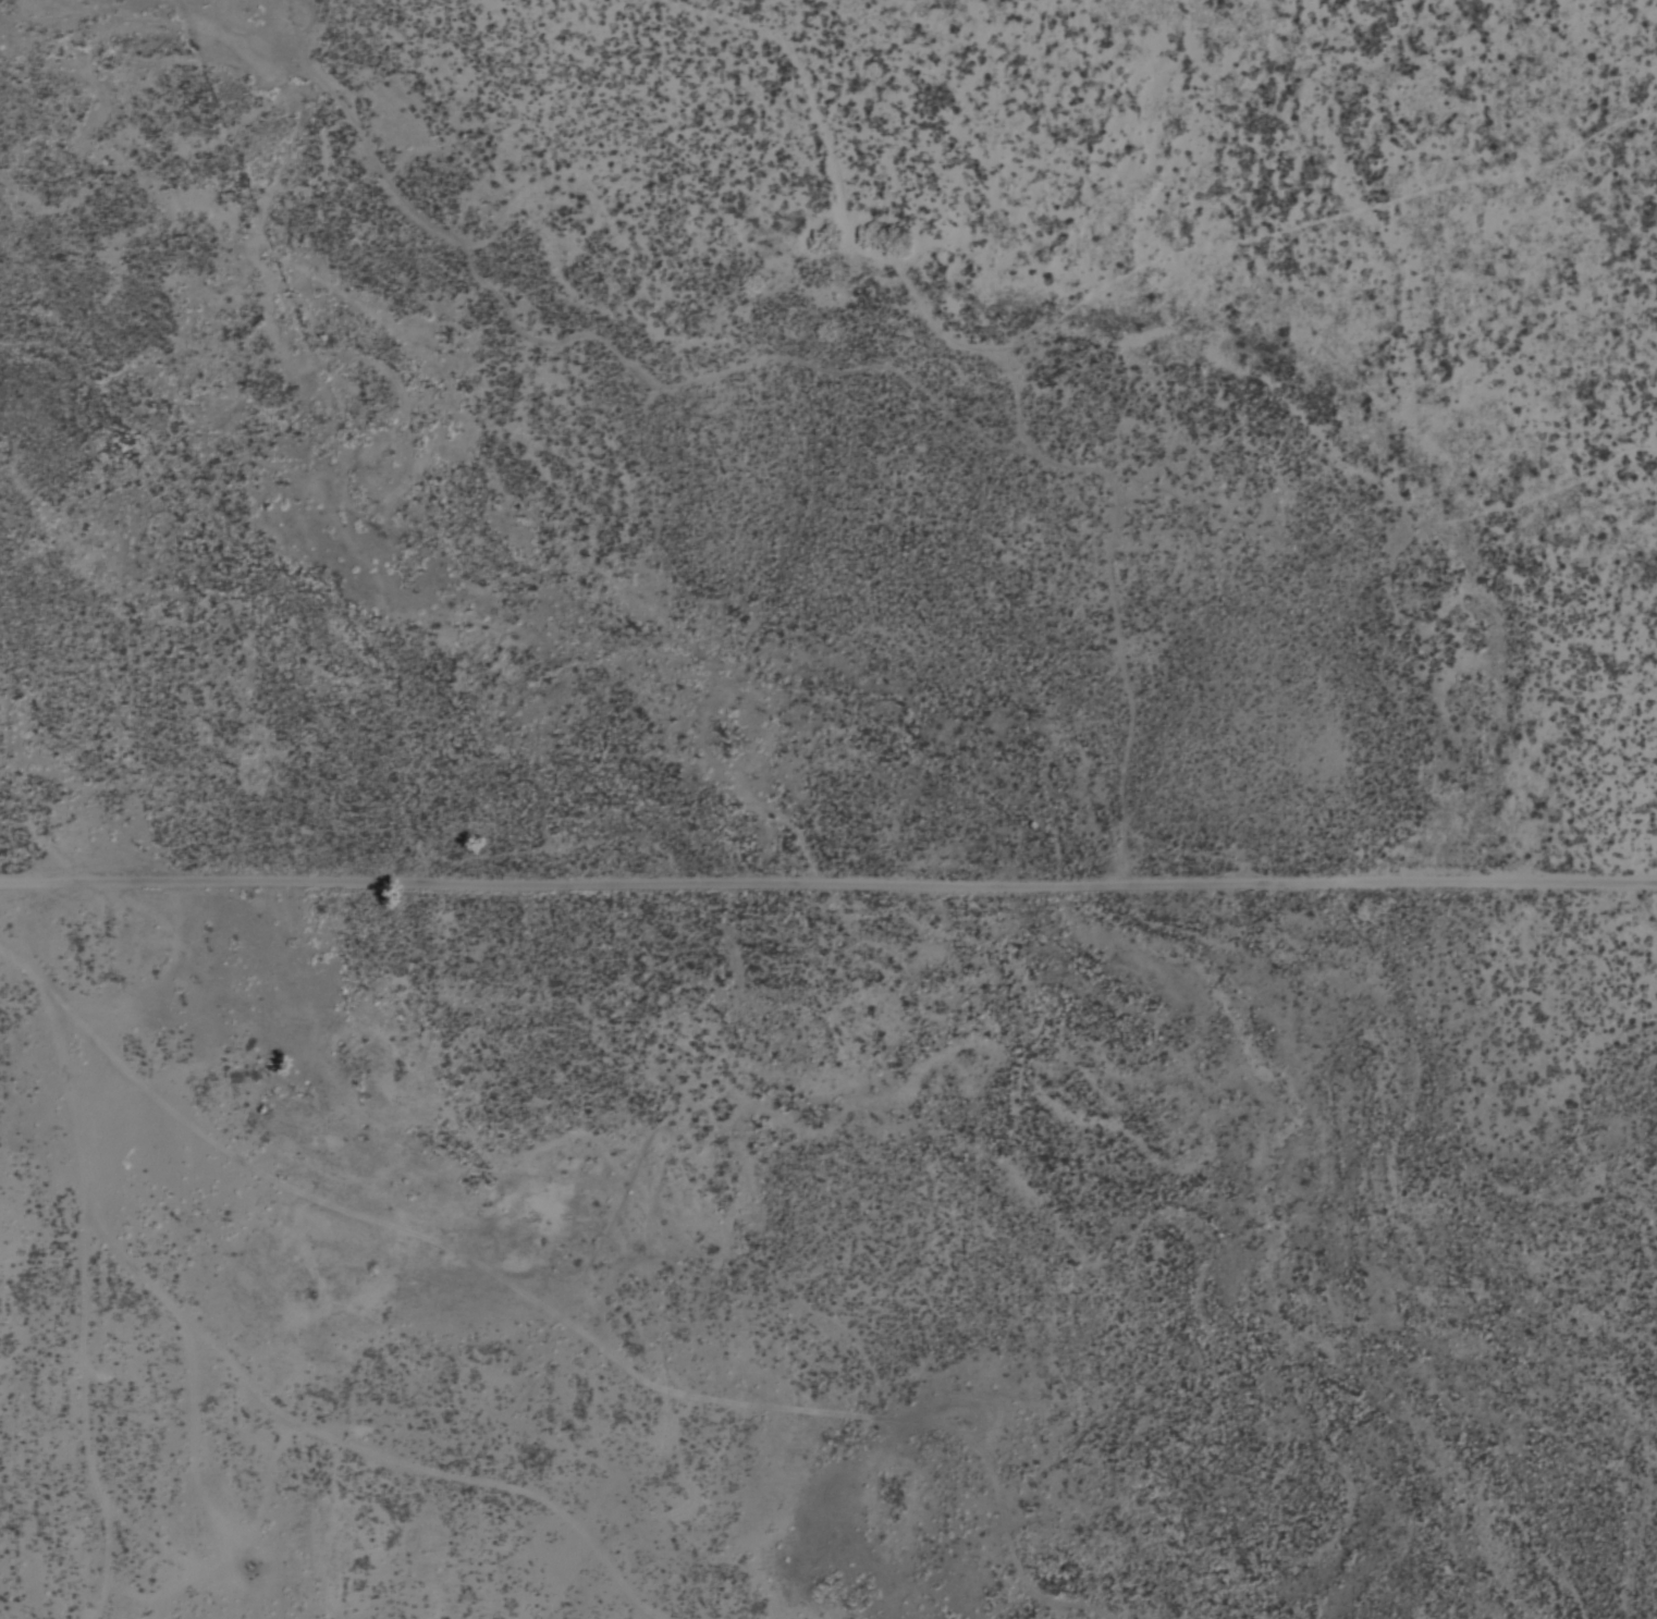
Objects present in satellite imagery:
road: (828, 879)
road: (569, 1313)
road: (280, 1400)
road: (95, 1420)

